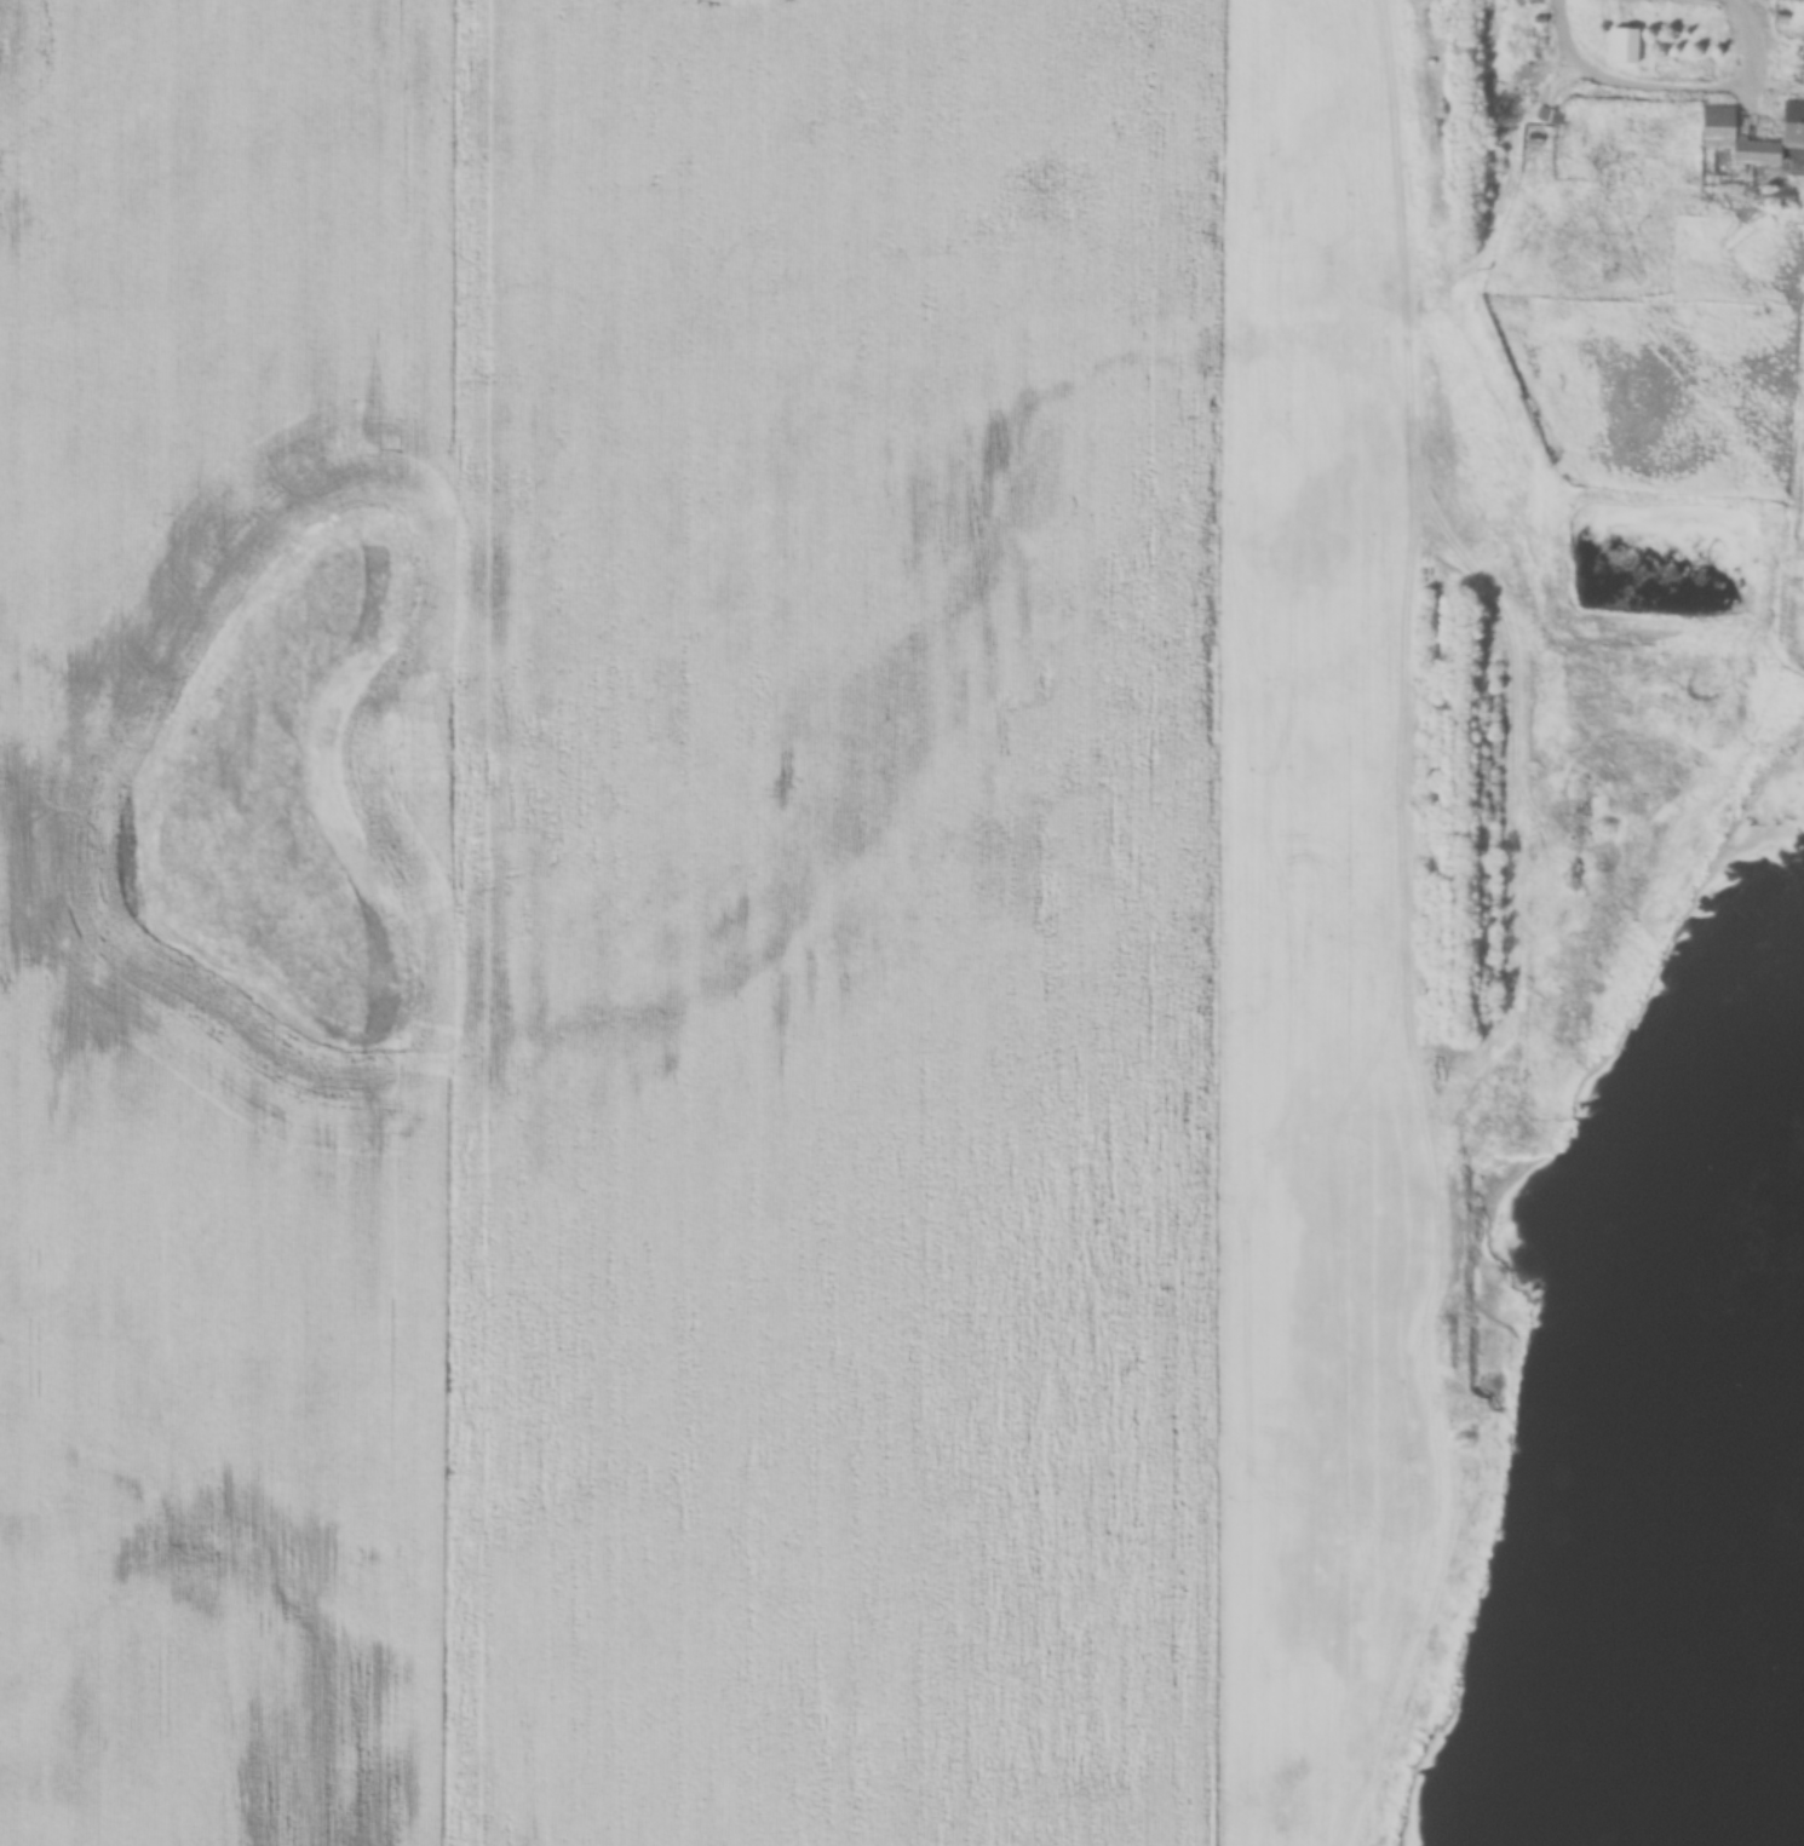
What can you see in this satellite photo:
building: (1628, 46)
building: (1720, 125)

